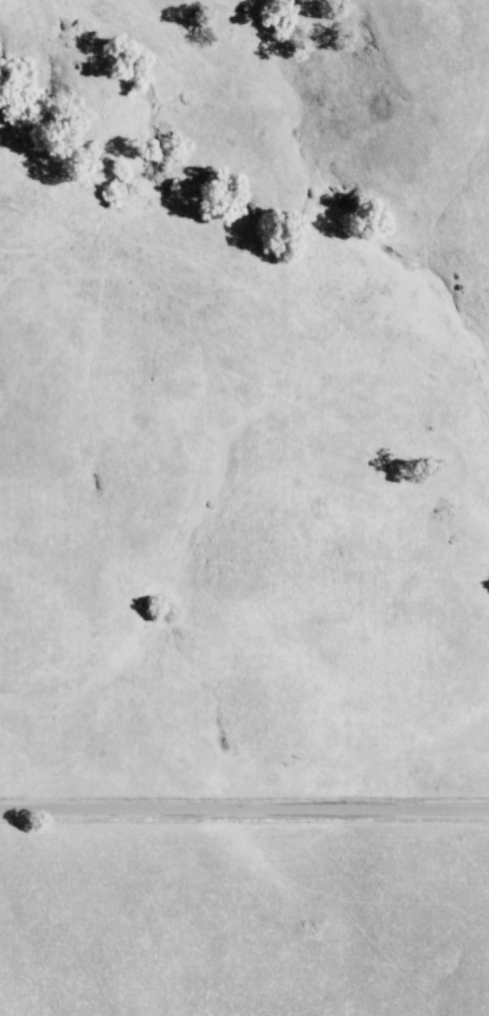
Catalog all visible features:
road: (244, 808)

